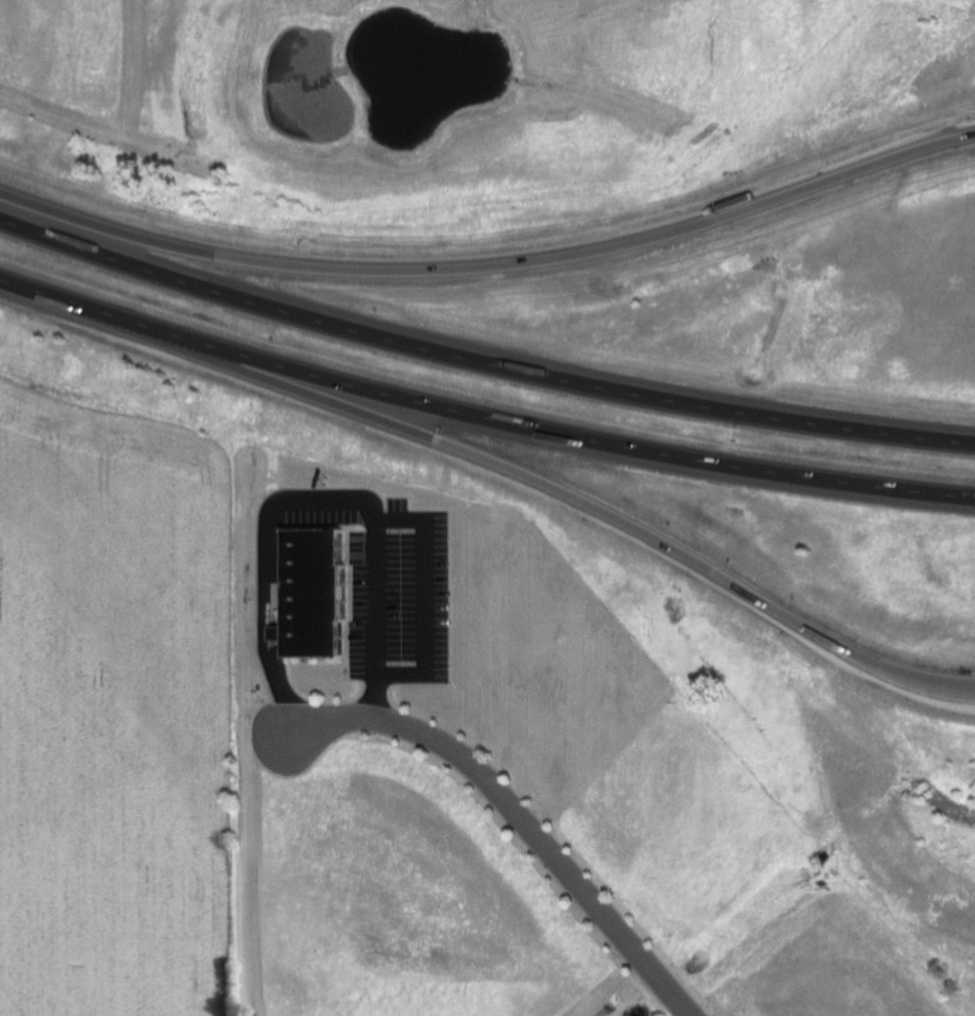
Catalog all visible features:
road: (491, 267)
road: (480, 362)
road: (481, 416)
road: (501, 467)
road: (315, 501)
building: (322, 593)
road: (422, 596)
road: (515, 812)

